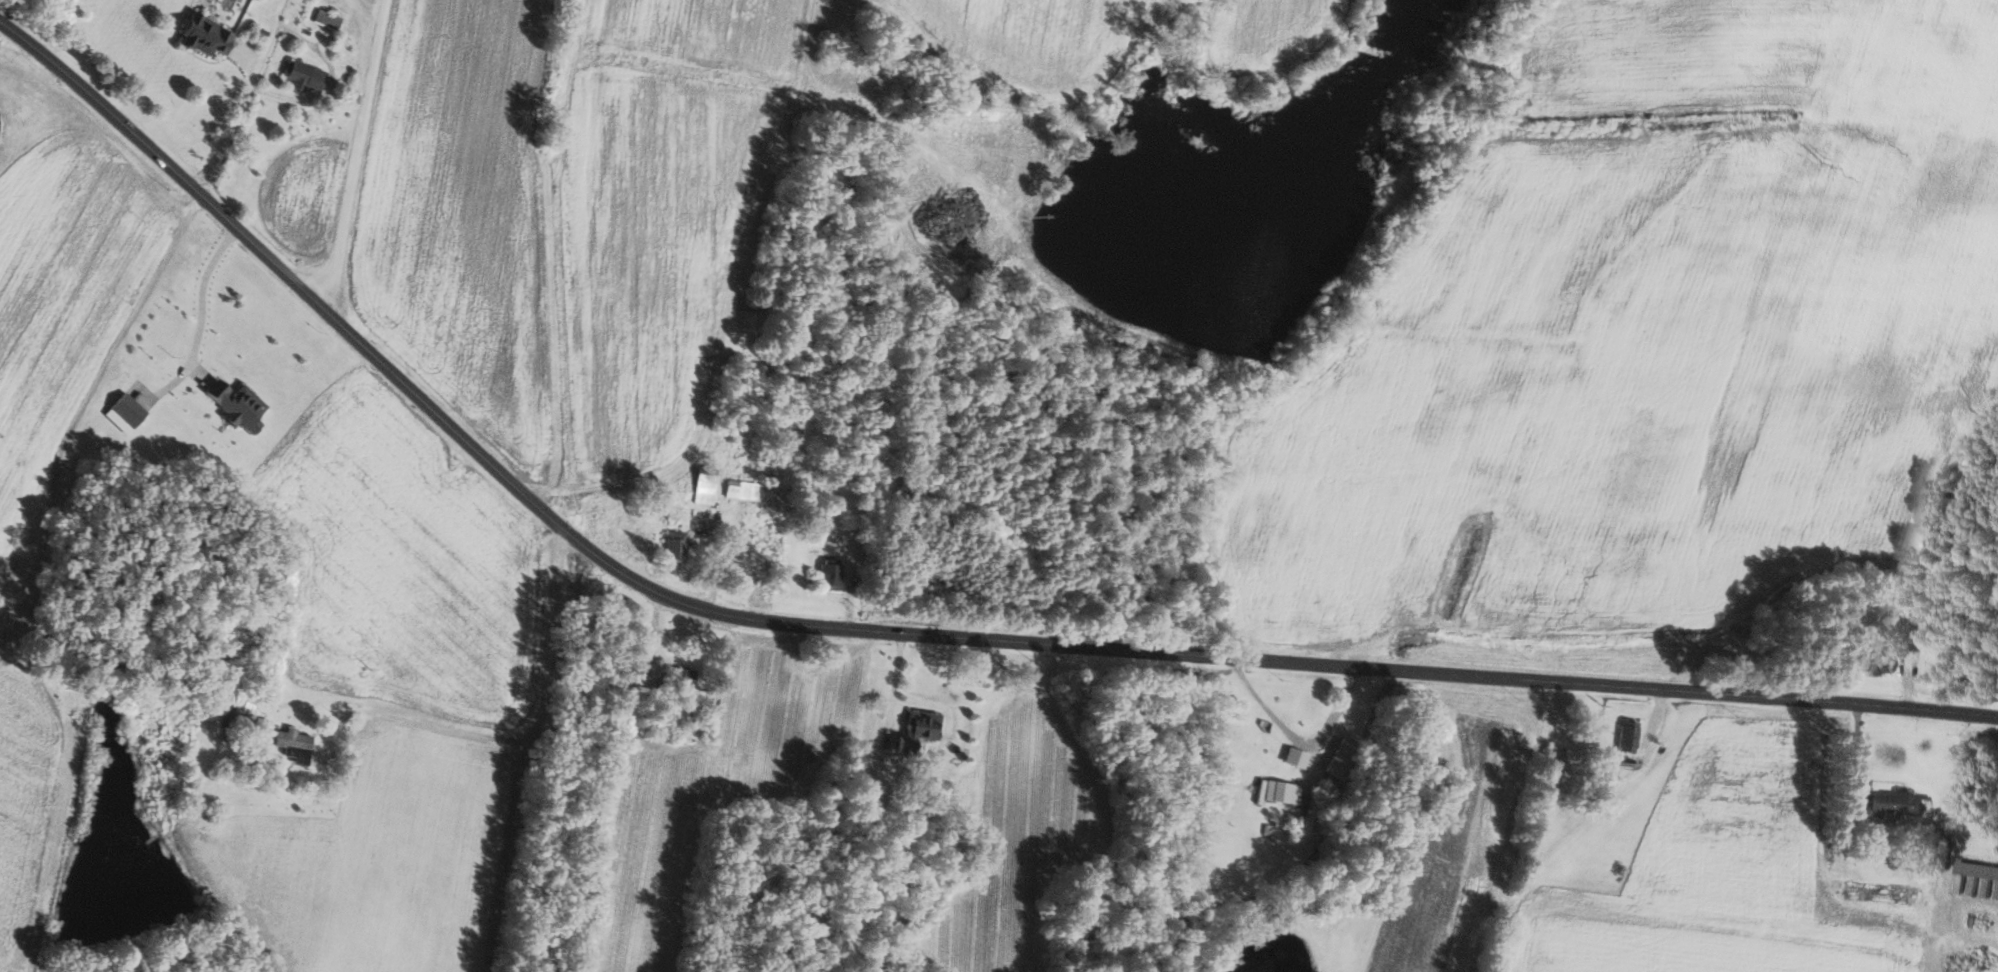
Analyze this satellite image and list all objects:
building: (206, 35)
building: (307, 76)
road: (246, 98)
road: (356, 153)
road: (203, 301)
building: (126, 413)
building: (706, 489)
building: (743, 490)
building: (677, 546)
building: (832, 574)
road: (890, 632)
building: (1883, 662)
building: (685, 677)
road: (894, 686)
building: (244, 712)
road: (423, 723)
building: (919, 730)
building: (1629, 737)
road: (1295, 739)
building: (295, 745)
road: (528, 750)
building: (1344, 758)
building: (1556, 760)
building: (1278, 792)
building: (1898, 803)
building: (1981, 876)

